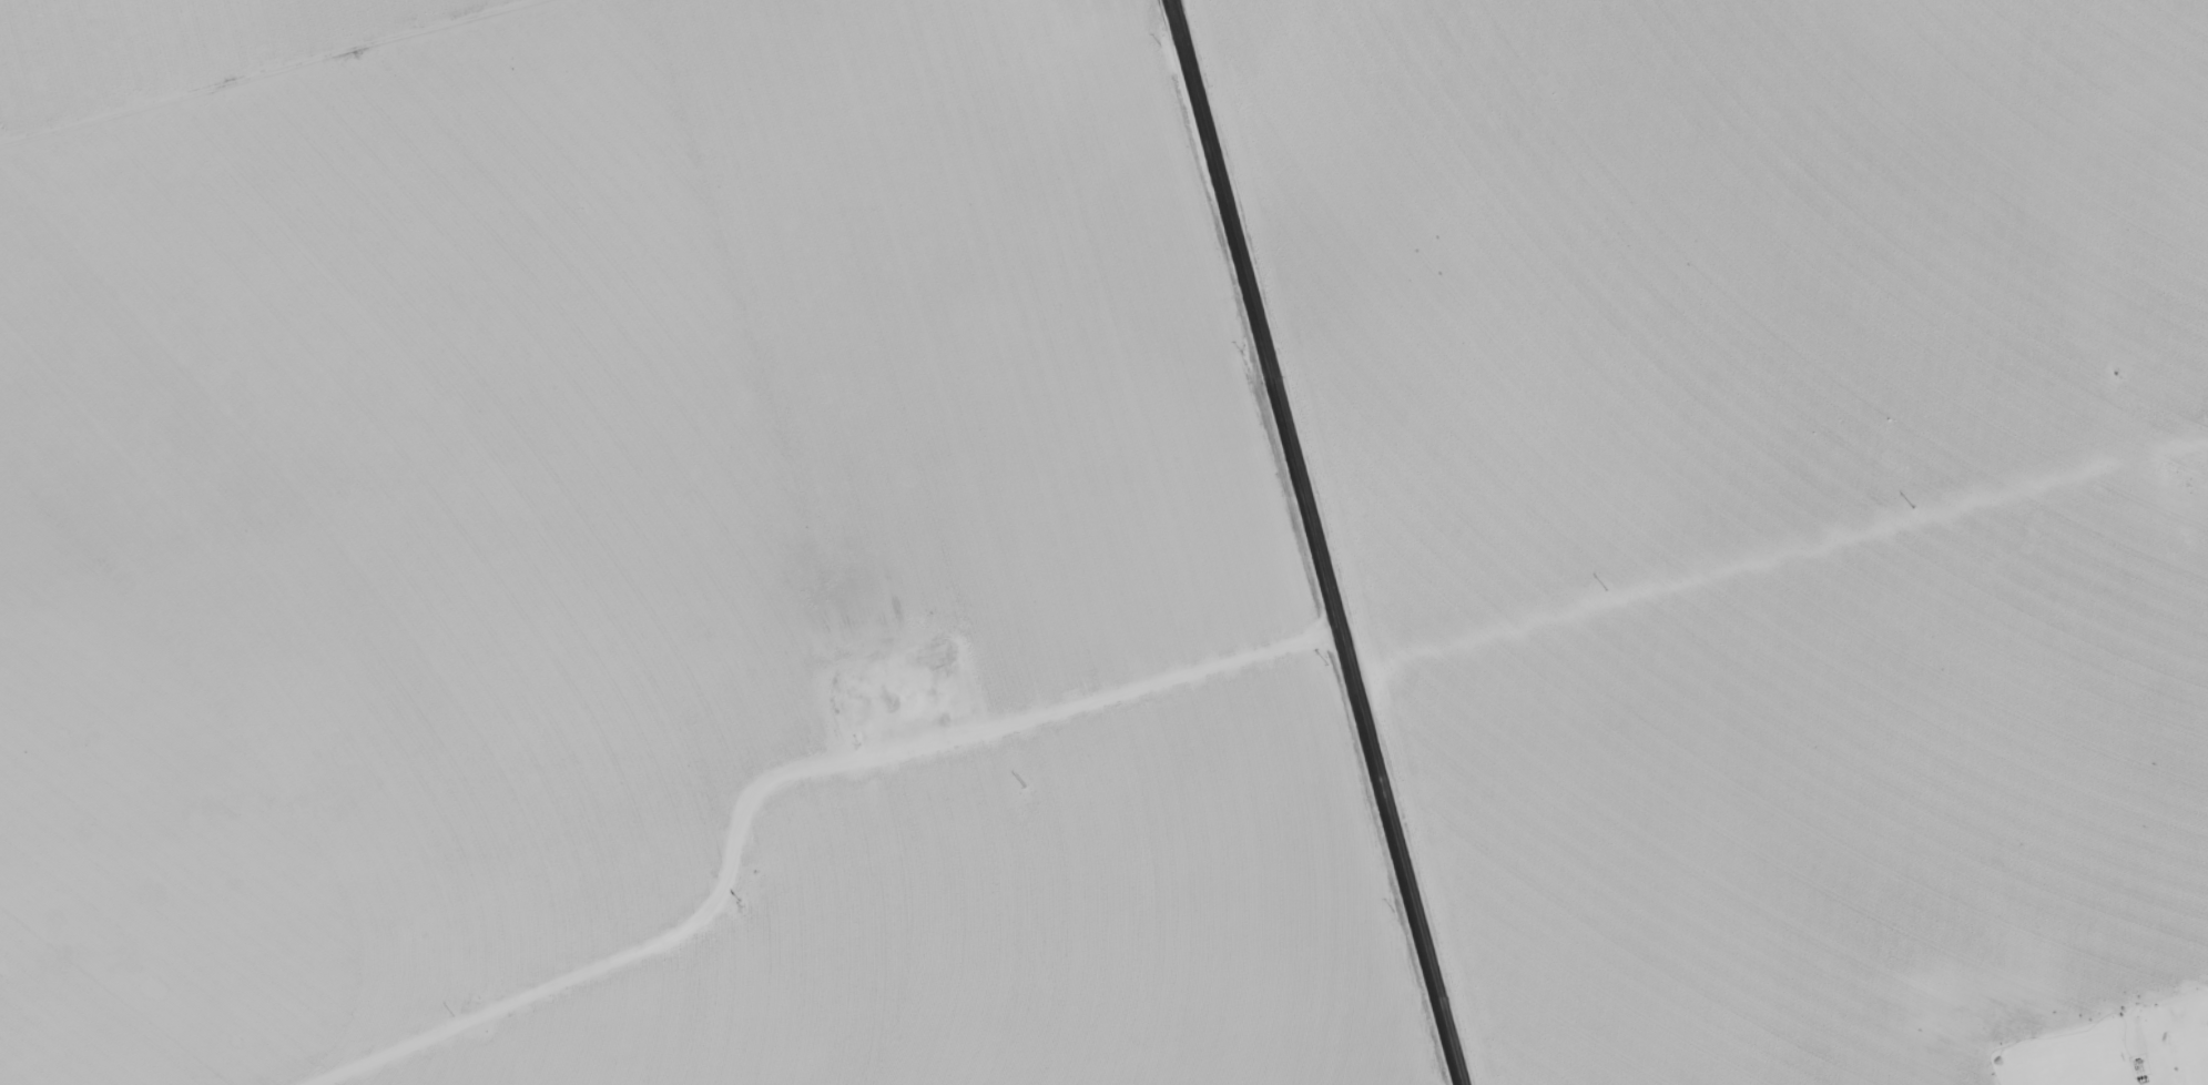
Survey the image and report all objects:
road: (1316, 541)
road: (1301, 679)

